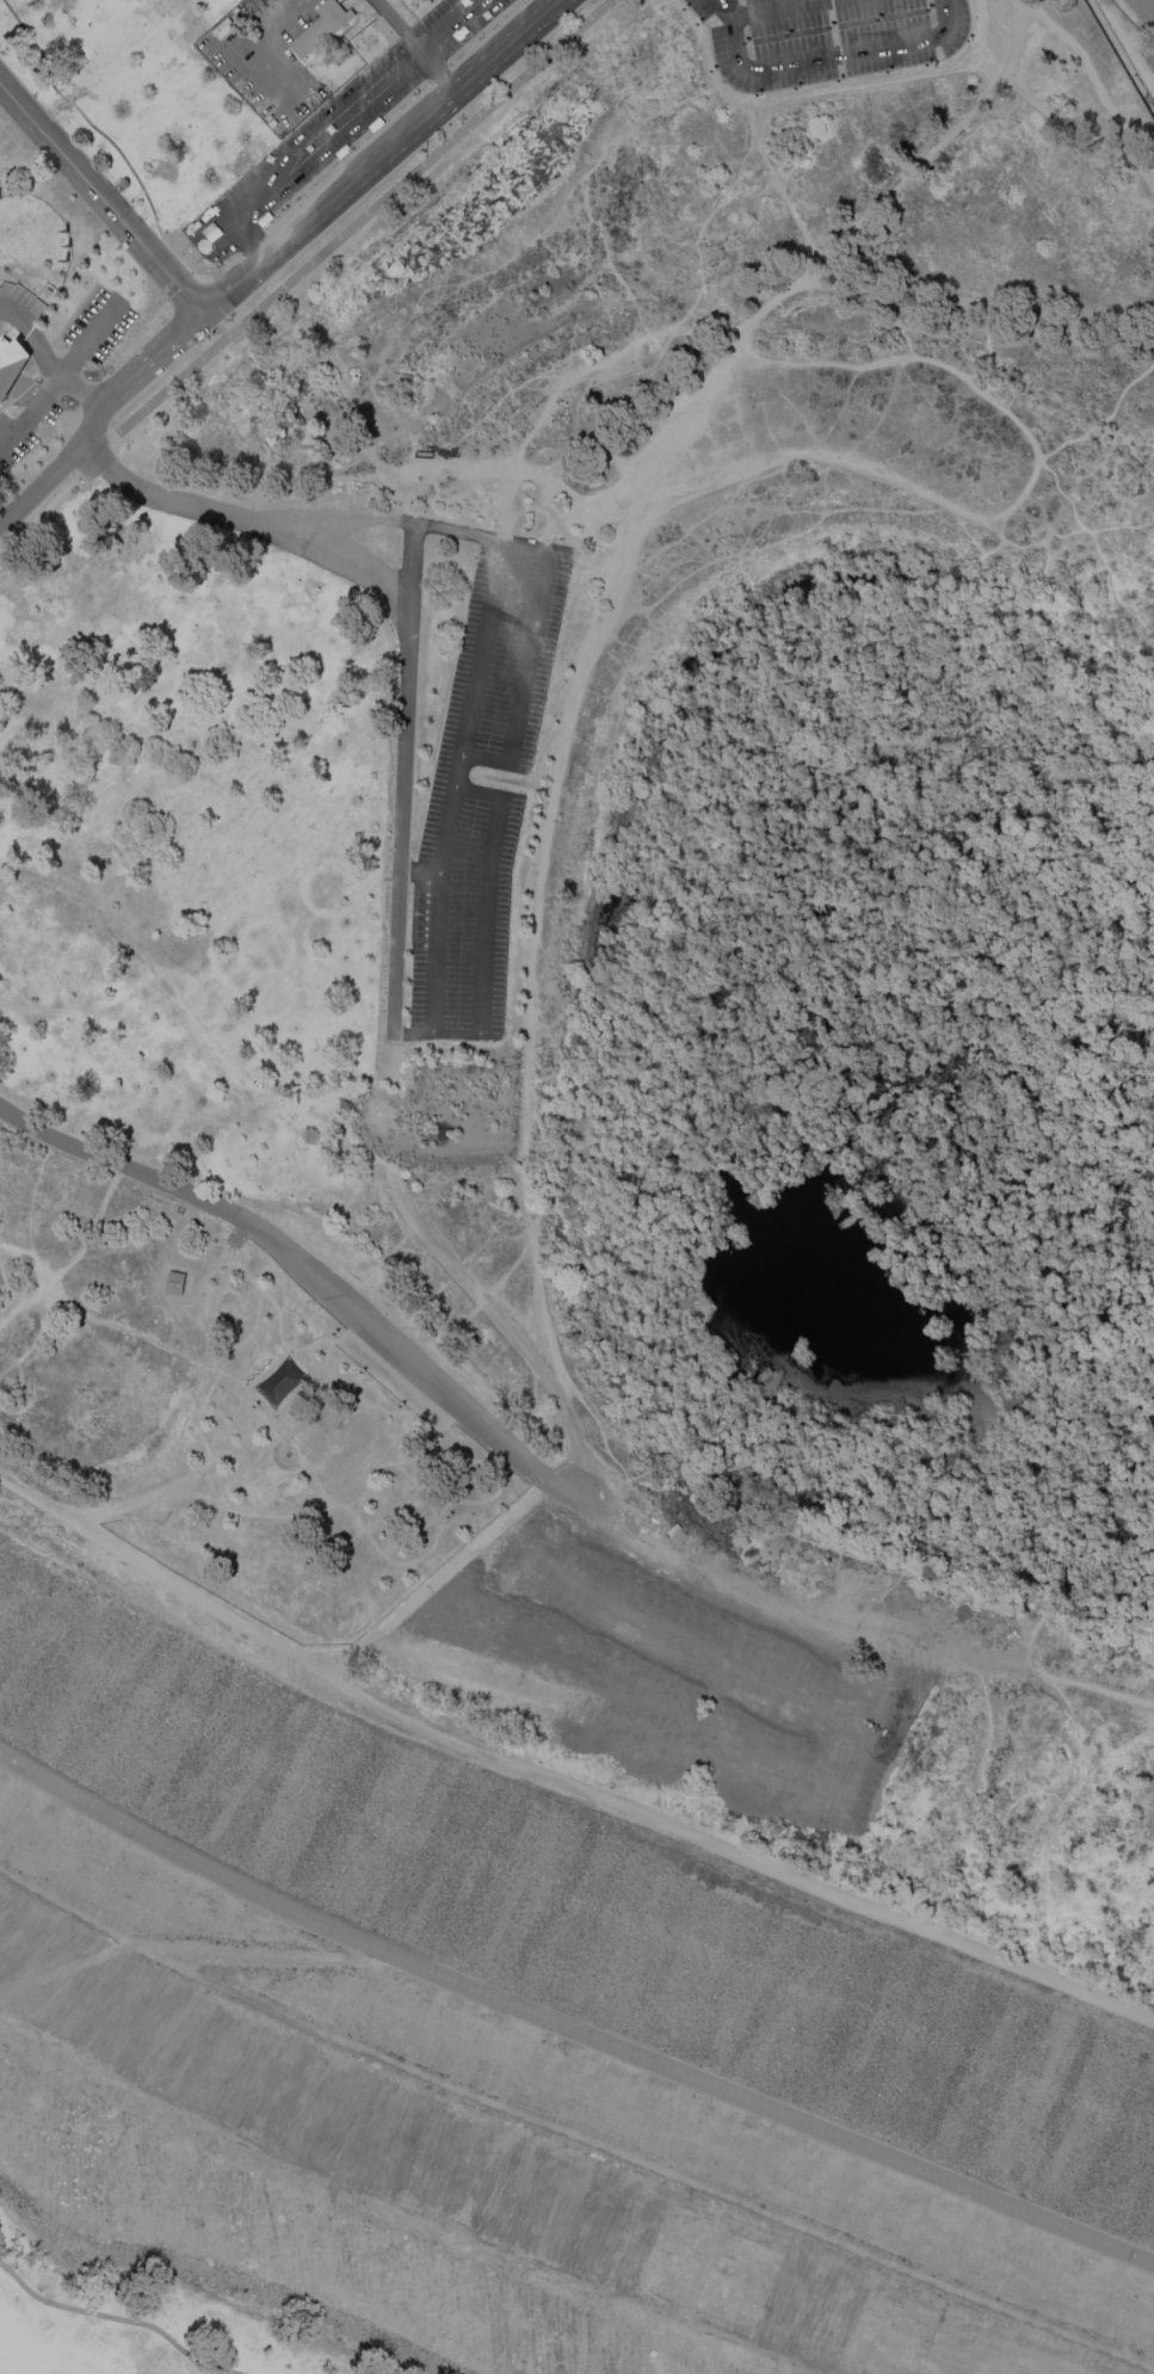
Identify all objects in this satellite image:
parking lot: (753, 1)
road: (1152, 1)
park: (425, 4)
park: (418, 5)
parking lot: (267, 6)
parking lot: (697, 8)
road: (777, 8)
parking lot: (874, 8)
parking lot: (1144, 10)
parking lot: (431, 16)
park: (1140, 16)
parking lot: (788, 24)
building: (220, 25)
parking lot: (468, 25)
building: (320, 27)
parking lot: (956, 27)
parking lot: (883, 29)
parking lot: (233, 41)
road: (412, 43)
parking lot: (718, 44)
parking lot: (791, 44)
road: (825, 55)
parking lot: (888, 60)
road: (280, 63)
parking lot: (368, 72)
parking lot: (240, 86)
road: (1093, 90)
park: (136, 97)
parking lot: (298, 112)
road: (334, 122)
road: (106, 138)
parking lot: (338, 140)
parking lot: (257, 171)
road: (100, 198)
road: (348, 224)
road: (353, 227)
road: (245, 234)
parking lot: (216, 248)
road: (258, 267)
parking lot: (20, 294)
parking lot: (97, 325)
road: (45, 358)
road: (148, 359)
building: (11, 363)
road: (61, 374)
parking lot: (11, 442)
road: (31, 491)
road: (171, 499)
road: (391, 518)
road: (409, 556)
road: (344, 559)
road: (526, 656)
road: (576, 680)
road: (453, 783)
parking lot: (481, 787)
parking lot: (394, 828)
road: (400, 830)
road: (418, 869)
road: (483, 914)
parking lot: (233, 1238)
road: (315, 1277)
building: (173, 1282)
building: (280, 1382)
dam: (598, 1721)
road: (559, 1782)
road: (258, 1954)
road: (568, 2025)
dam: (390, 2110)
park: (520, 2131)
road: (569, 2132)
park: (494, 2144)
road: (119, 2318)

